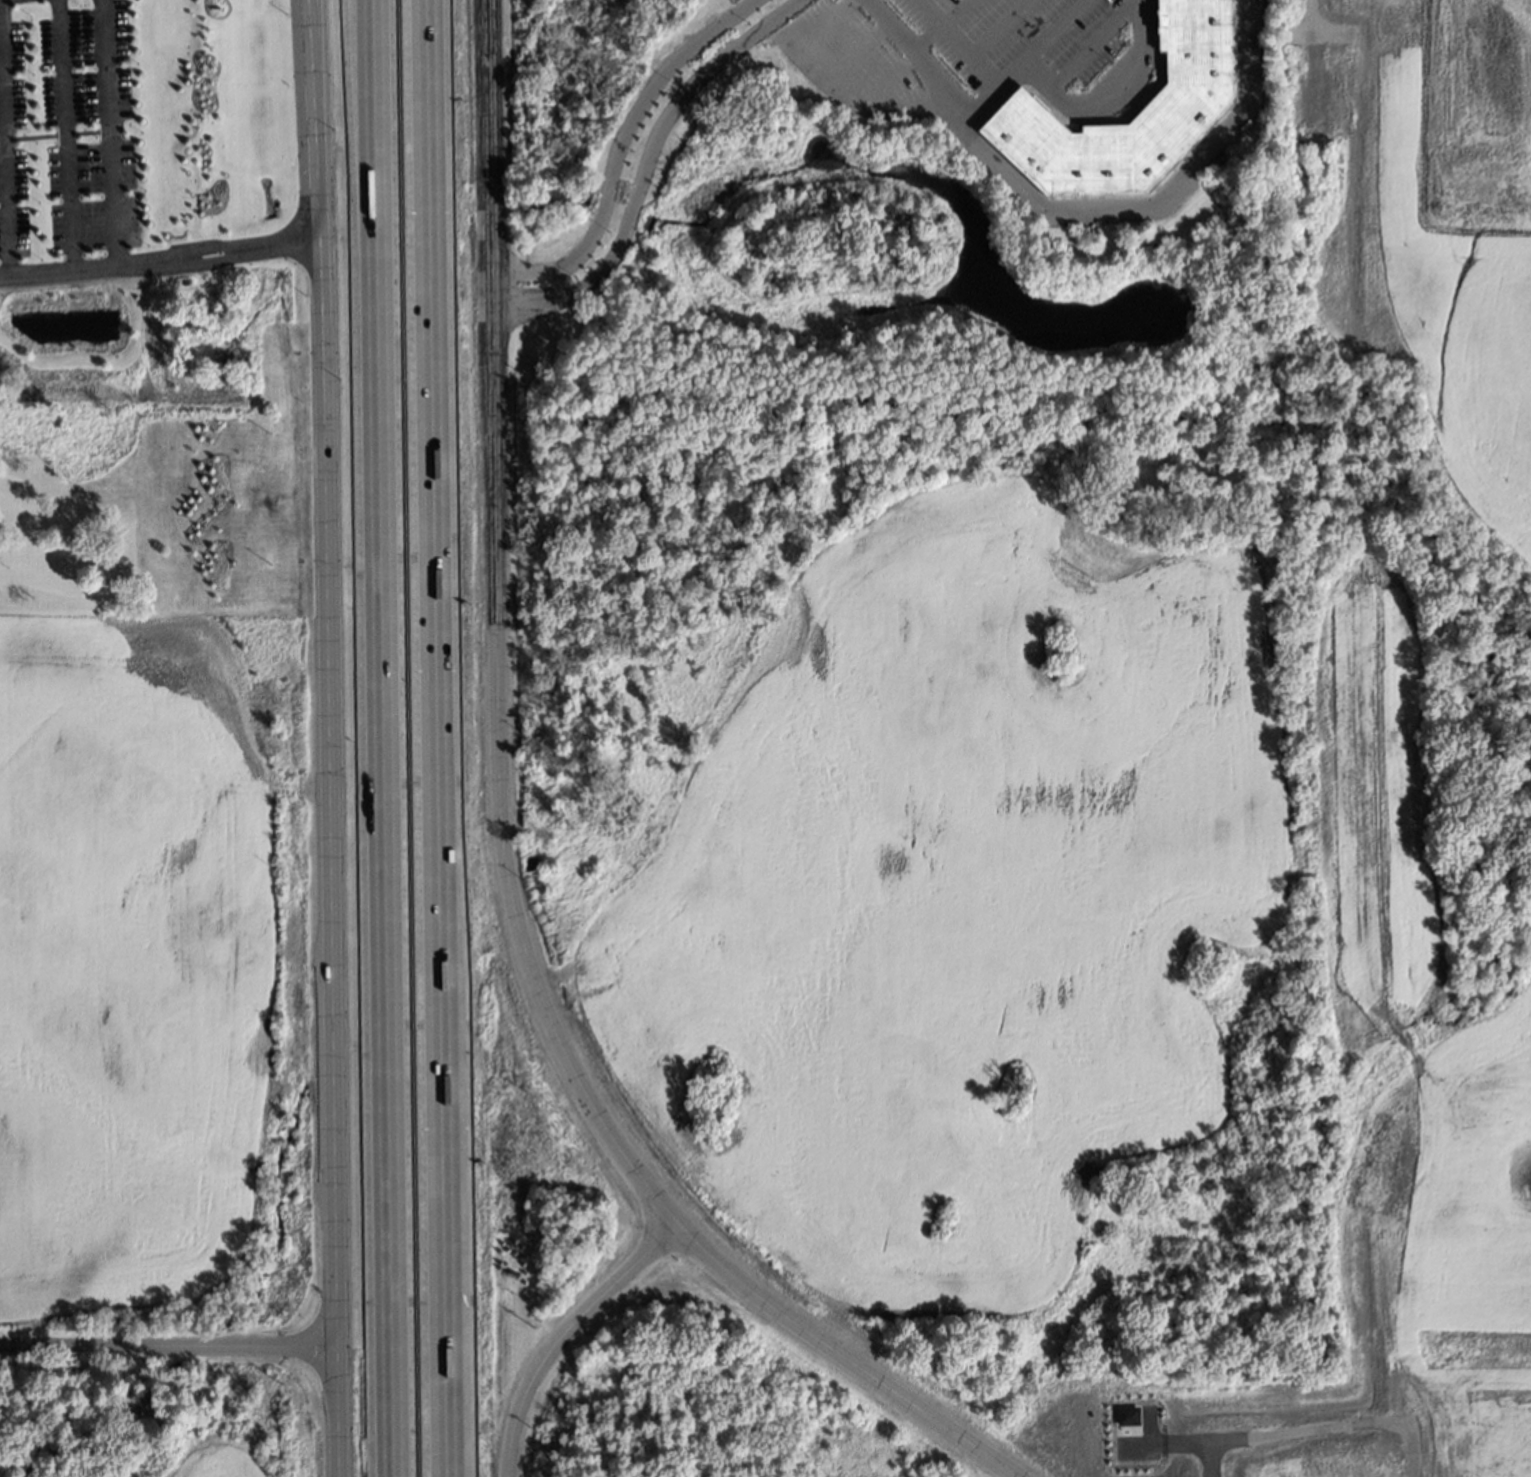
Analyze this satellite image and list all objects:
parking lot: (729, 1)
road: (368, 10)
road: (997, 29)
road: (1054, 33)
building: (793, 35)
road: (956, 44)
road: (1092, 46)
parking lot: (947, 49)
road: (854, 50)
road: (909, 51)
road: (1015, 72)
road: (833, 85)
building: (1195, 94)
road: (107, 132)
road: (65, 134)
road: (3, 151)
road: (617, 151)
road: (642, 167)
road: (1157, 204)
road: (158, 259)
road: (317, 280)
road: (434, 646)
road: (381, 738)
road: (500, 846)
crop: (156, 977)
road: (332, 1018)
road: (560, 1332)
road: (167, 1346)
road: (445, 1384)

